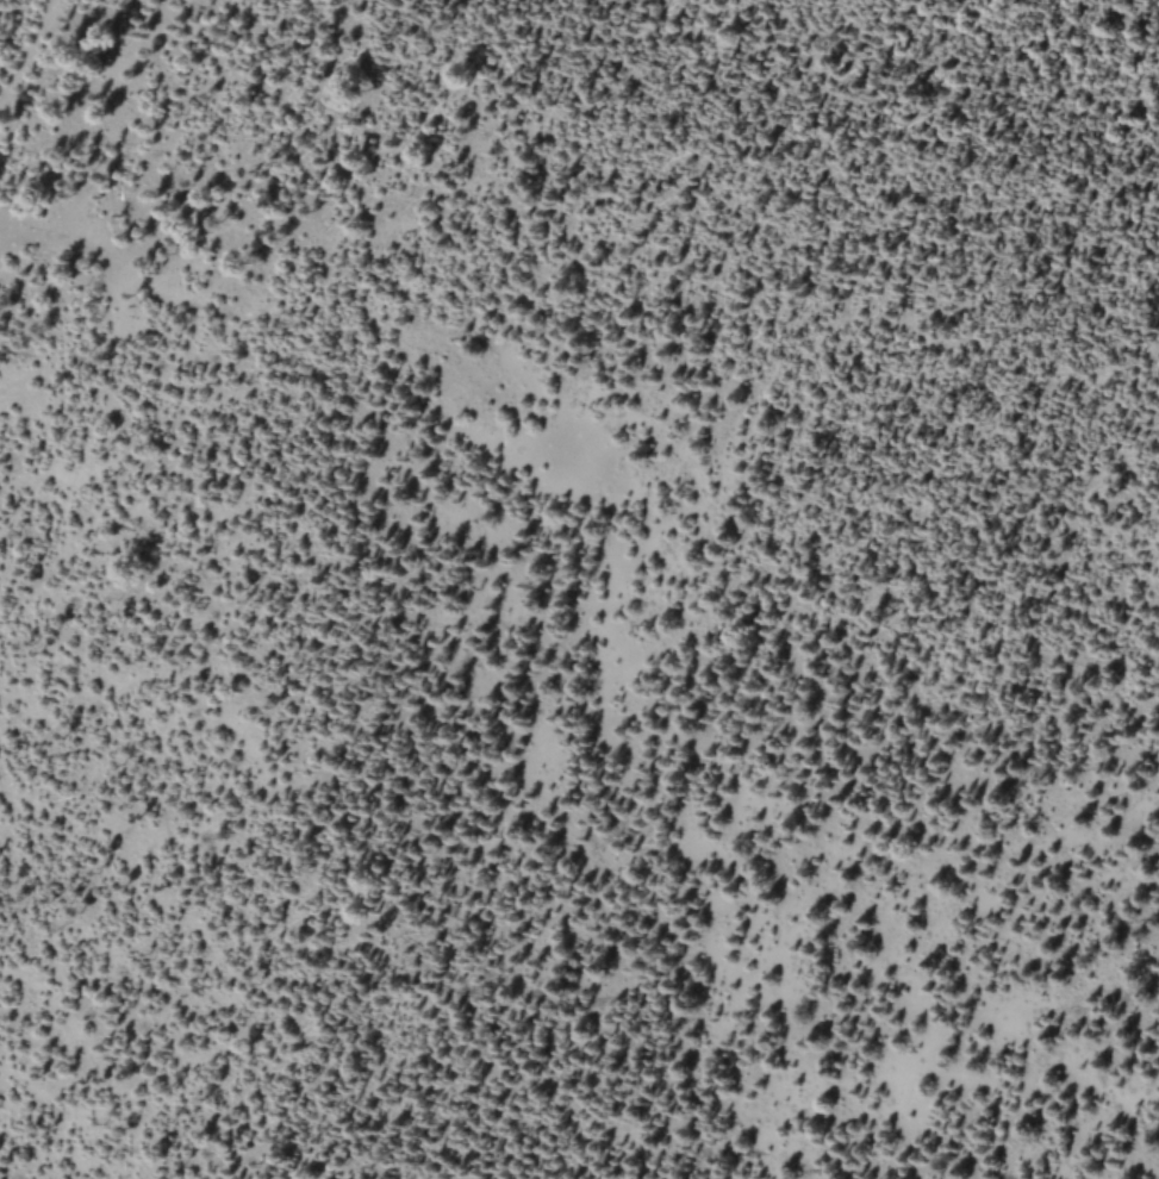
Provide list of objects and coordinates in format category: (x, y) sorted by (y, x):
road: (11, 99)

